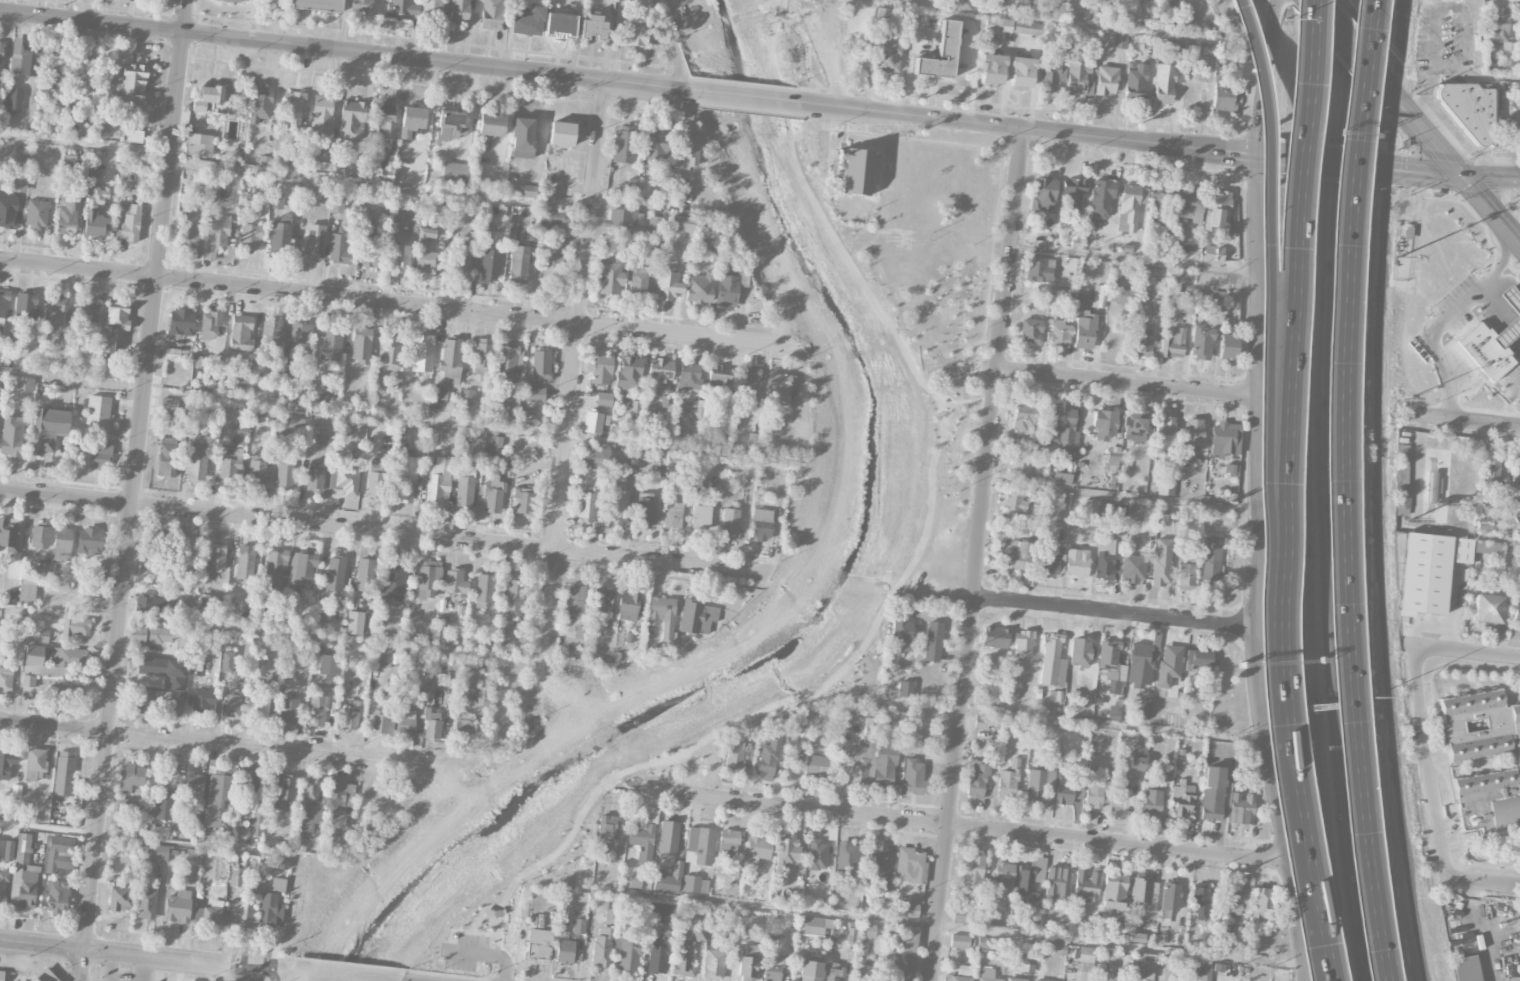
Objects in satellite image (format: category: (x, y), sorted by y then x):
building: (238, 0)
building: (1168, 0)
road: (1219, 0)
building: (317, 4)
building: (960, 4)
building: (1001, 4)
road: (1243, 6)
building: (361, 7)
building: (401, 8)
building: (433, 8)
building: (459, 11)
building: (491, 14)
building: (882, 14)
road: (944, 17)
building: (1189, 20)
building: (528, 23)
building: (560, 24)
building: (1519, 24)
building: (1496, 25)
building: (998, 26)
road: (1089, 26)
building: (593, 27)
building: (1027, 28)
road: (1339, 31)
building: (636, 35)
parking lot: (823, 36)
road: (1379, 36)
road: (1237, 38)
road: (771, 39)
building: (1120, 42)
road: (673, 45)
building: (1168, 48)
building: (1206, 48)
road: (342, 52)
building: (940, 53)
building: (887, 54)
road: (808, 57)
building: (24, 58)
road: (1475, 60)
building: (1509, 60)
building: (53, 68)
road: (1371, 68)
building: (86, 69)
building: (992, 69)
building: (2, 72)
building: (1022, 73)
building: (1051, 73)
traffic signals: (1376, 73)
building: (1079, 76)
building: (1106, 80)
building: (1167, 82)
building: (1136, 83)
building: (133, 87)
building: (1224, 96)
building: (209, 97)
road: (744, 97)
building: (15, 99)
road: (781, 102)
building: (260, 104)
building: (1469, 110)
building: (291, 111)
building: (322, 113)
building: (383, 119)
road: (1373, 120)
building: (351, 121)
building: (411, 121)
building: (450, 124)
building: (491, 125)
road: (1419, 125)
building: (101, 128)
road: (1028, 129)
building: (561, 134)
building: (132, 136)
building: (522, 138)
building: (655, 144)
building: (198, 145)
building: (623, 145)
traffic signals: (1256, 154)
building: (686, 155)
road: (1264, 155)
building: (324, 156)
building: (264, 160)
road: (1315, 161)
traffic signals: (1370, 167)
building: (854, 170)
road: (1411, 171)
road: (294, 175)
building: (454, 175)
traffic signals: (1464, 177)
road: (1491, 178)
building: (19, 183)
building: (632, 186)
road: (1452, 189)
building: (528, 191)
building: (1045, 194)
building: (1073, 194)
building: (276, 200)
building: (1100, 201)
building: (336, 203)
building: (1159, 203)
building: (1189, 204)
building: (1130, 207)
building: (8, 209)
road: (1491, 209)
building: (1216, 211)
building: (36, 214)
building: (68, 215)
building: (551, 218)
building: (622, 218)
building: (681, 223)
building: (129, 224)
building: (655, 224)
building: (188, 230)
building: (281, 235)
building: (426, 235)
building: (216, 237)
building: (251, 238)
building: (314, 242)
building: (338, 248)
building: (370, 251)
building: (1212, 254)
building: (402, 256)
road: (1133, 260)
building: (424, 261)
building: (462, 261)
building: (490, 264)
building: (519, 264)
building: (553, 266)
building: (1041, 268)
building: (610, 277)
building: (638, 280)
building: (667, 286)
building: (699, 288)
building: (729, 289)
building: (1042, 292)
building: (1099, 296)
building: (1121, 296)
road: (1493, 300)
building: (1216, 302)
road: (399, 304)
building: (3, 306)
building: (25, 306)
building: (54, 309)
building: (86, 310)
road: (1291, 314)
road: (1441, 318)
road: (1266, 320)
building: (181, 322)
building: (1514, 323)
gas station: (1514, 323)
building: (113, 324)
building: (210, 325)
building: (1085, 330)
building: (1030, 332)
building: (241, 333)
building: (1059, 335)
building: (268, 339)
building: (299, 339)
building: (1142, 342)
building: (1201, 342)
building: (331, 343)
building: (1173, 344)
building: (360, 345)
building: (1228, 347)
building: (1484, 351)
building: (390, 352)
building: (422, 353)
building: (482, 353)
building: (171, 354)
building: (450, 359)
building: (200, 362)
building: (509, 362)
building: (540, 365)
road: (1328, 365)
building: (602, 369)
building: (629, 372)
building: (659, 372)
building: (719, 377)
building: (688, 378)
building: (24, 384)
road: (1125, 385)
building: (748, 388)
building: (779, 388)
building: (439, 393)
building: (534, 394)
building: (467, 397)
building: (604, 399)
building: (510, 400)
road: (569, 401)
road: (967, 401)
building: (167, 405)
building: (635, 409)
building: (224, 413)
building: (97, 415)
road: (399, 416)
building: (1024, 417)
building: (0, 419)
road: (1463, 421)
building: (592, 422)
building: (290, 425)
building: (1105, 425)
building: (1133, 426)
building: (1063, 428)
building: (48, 429)
building: (1165, 433)
building: (1193, 433)
building: (11, 436)
building: (1225, 439)
building: (402, 440)
building: (753, 442)
road: (1348, 449)
building: (596, 455)
building: (99, 456)
building: (166, 457)
building: (231, 458)
building: (1112, 458)
building: (197, 463)
building: (1021, 465)
building: (1401, 468)
building: (254, 470)
building: (1490, 470)
building: (1516, 472)
building: (284, 473)
building: (314, 476)
building: (404, 479)
building: (1062, 479)
building: (376, 480)
building: (436, 480)
building: (345, 481)
building: (618, 481)
building: (465, 485)
building: (1441, 486)
building: (1165, 487)
road: (133, 490)
road: (1340, 490)
road: (1253, 491)
road: (1309, 491)
railway: (1378, 491)
building: (493, 493)
road: (1119, 495)
building: (523, 501)
building: (586, 502)
building: (1014, 503)
building: (1089, 508)
building: (618, 509)
building: (647, 511)
building: (1113, 512)
building: (673, 515)
building: (701, 517)
building: (730, 521)
building: (761, 525)
building: (1148, 526)
building: (1484, 526)
road: (381, 532)
building: (9, 534)
road: (1455, 534)
building: (40, 536)
building: (88, 541)
building: (62, 543)
building: (205, 553)
road: (977, 554)
building: (1015, 555)
building: (1104, 559)
building: (1161, 562)
building: (245, 563)
building: (1076, 563)
building: (1211, 563)
building: (1050, 564)
building: (275, 568)
building: (302, 569)
building: (1132, 569)
building: (1433, 569)
building: (99, 571)
building: (334, 574)
building: (1185, 574)
building: (364, 575)
building: (428, 579)
building: (393, 580)
building: (155, 581)
building: (455, 582)
building: (27, 589)
building: (483, 590)
building: (514, 598)
building: (603, 599)
building: (575, 600)
building: (149, 604)
building: (628, 606)
building: (1488, 609)
road: (1075, 610)
building: (1516, 613)
road: (880, 615)
building: (662, 616)
building: (697, 618)
road: (1277, 619)
building: (354, 623)
building: (76, 626)
building: (579, 632)
building: (151, 635)
building: (42, 636)
building: (901, 636)
building: (504, 637)
building: (995, 637)
road: (338, 640)
building: (933, 641)
building: (1023, 643)
building: (1080, 651)
road: (1468, 651)
building: (382, 658)
building: (1198, 658)
building: (1050, 659)
building: (52, 660)
building: (227, 661)
building: (328, 665)
building: (1169, 665)
building: (1139, 666)
building: (1111, 667)
building: (160, 673)
building: (6, 679)
building: (27, 680)
building: (443, 680)
building: (69, 689)
building: (905, 689)
building: (482, 695)
building: (151, 699)
building: (203, 700)
building: (231, 705)
building: (258, 707)
building: (317, 709)
building: (1147, 709)
building: (288, 711)
building: (1114, 713)
building: (350, 716)
road: (1049, 719)
building: (405, 722)
building: (981, 723)
building: (383, 724)
building: (464, 724)
building: (432, 726)
building: (871, 728)
road: (228, 744)
road: (1285, 749)
building: (737, 757)
building: (768, 759)
building: (1137, 760)
building: (7, 764)
building: (35, 764)
building: (861, 764)
building: (1515, 764)
building: (884, 765)
road: (1429, 765)
building: (816, 766)
building: (64, 771)
building: (130, 777)
building: (250, 777)
building: (914, 777)
building: (976, 779)
building: (1007, 783)
building: (1041, 783)
building: (192, 786)
building: (1096, 788)
building: (16, 790)
building: (1066, 791)
building: (285, 793)
building: (339, 794)
building: (1212, 794)
building: (217, 798)
building: (1182, 800)
building: (1152, 802)
building: (123, 805)
building: (163, 805)
building: (309, 805)
building: (1241, 808)
building: (256, 823)
building: (70, 824)
road: (958, 827)
building: (607, 828)
building: (158, 831)
building: (643, 834)
building: (668, 837)
building: (729, 837)
road: (145, 841)
building: (699, 846)
building: (758, 848)
building: (23, 849)
building: (6, 850)
building: (786, 851)
building: (157, 853)
building: (60, 854)
building: (192, 854)
building: (817, 855)
road: (1348, 856)
building: (845, 857)
building: (879, 863)
building: (910, 865)
building: (738, 868)
building: (973, 871)
building: (1004, 875)
building: (669, 879)
building: (1029, 881)
building: (695, 884)
building: (1057, 884)
building: (278, 885)
building: (1087, 885)
road: (1484, 885)
building: (3, 886)
building: (27, 888)
building: (1113, 891)
building: (57, 895)
building: (1144, 895)
building: (1170, 896)
building: (120, 897)
building: (1199, 901)
building: (1234, 901)
building: (599, 902)
building: (146, 903)
building: (1262, 905)
building: (177, 909)
building: (908, 910)
building: (270, 912)
building: (209, 913)
building: (492, 913)
building: (661, 913)
building: (240, 914)
building: (959, 915)
road: (480, 919)
road: (921, 923)
road: (1311, 924)
road: (1315, 924)
building: (813, 925)
building: (579, 926)
building: (1118, 932)
road: (1477, 932)
road: (475, 933)
building: (698, 933)
building: (865, 937)
building: (960, 941)
building: (987, 943)
building: (538, 944)
building: (602, 947)
building: (1061, 949)
building: (564, 950)
parking lot: (467, 952)
building: (626, 954)
road: (482, 955)
building: (657, 955)
building: (1086, 955)
building: (901, 956)
road: (143, 957)
building: (683, 961)
building: (1108, 962)
building: (1175, 963)
building: (713, 965)
building: (1143, 966)
building: (772, 968)
building: (1466, 969)
building: (963, 970)
building: (811, 971)
building: (835, 972)
building: (1203, 972)
building: (864, 973)
building: (987, 975)
building: (1, 976)
building: (37, 976)
road: (323, 977)
building: (958, 978)
building: (1016, 979)
building: (1034, 980)

